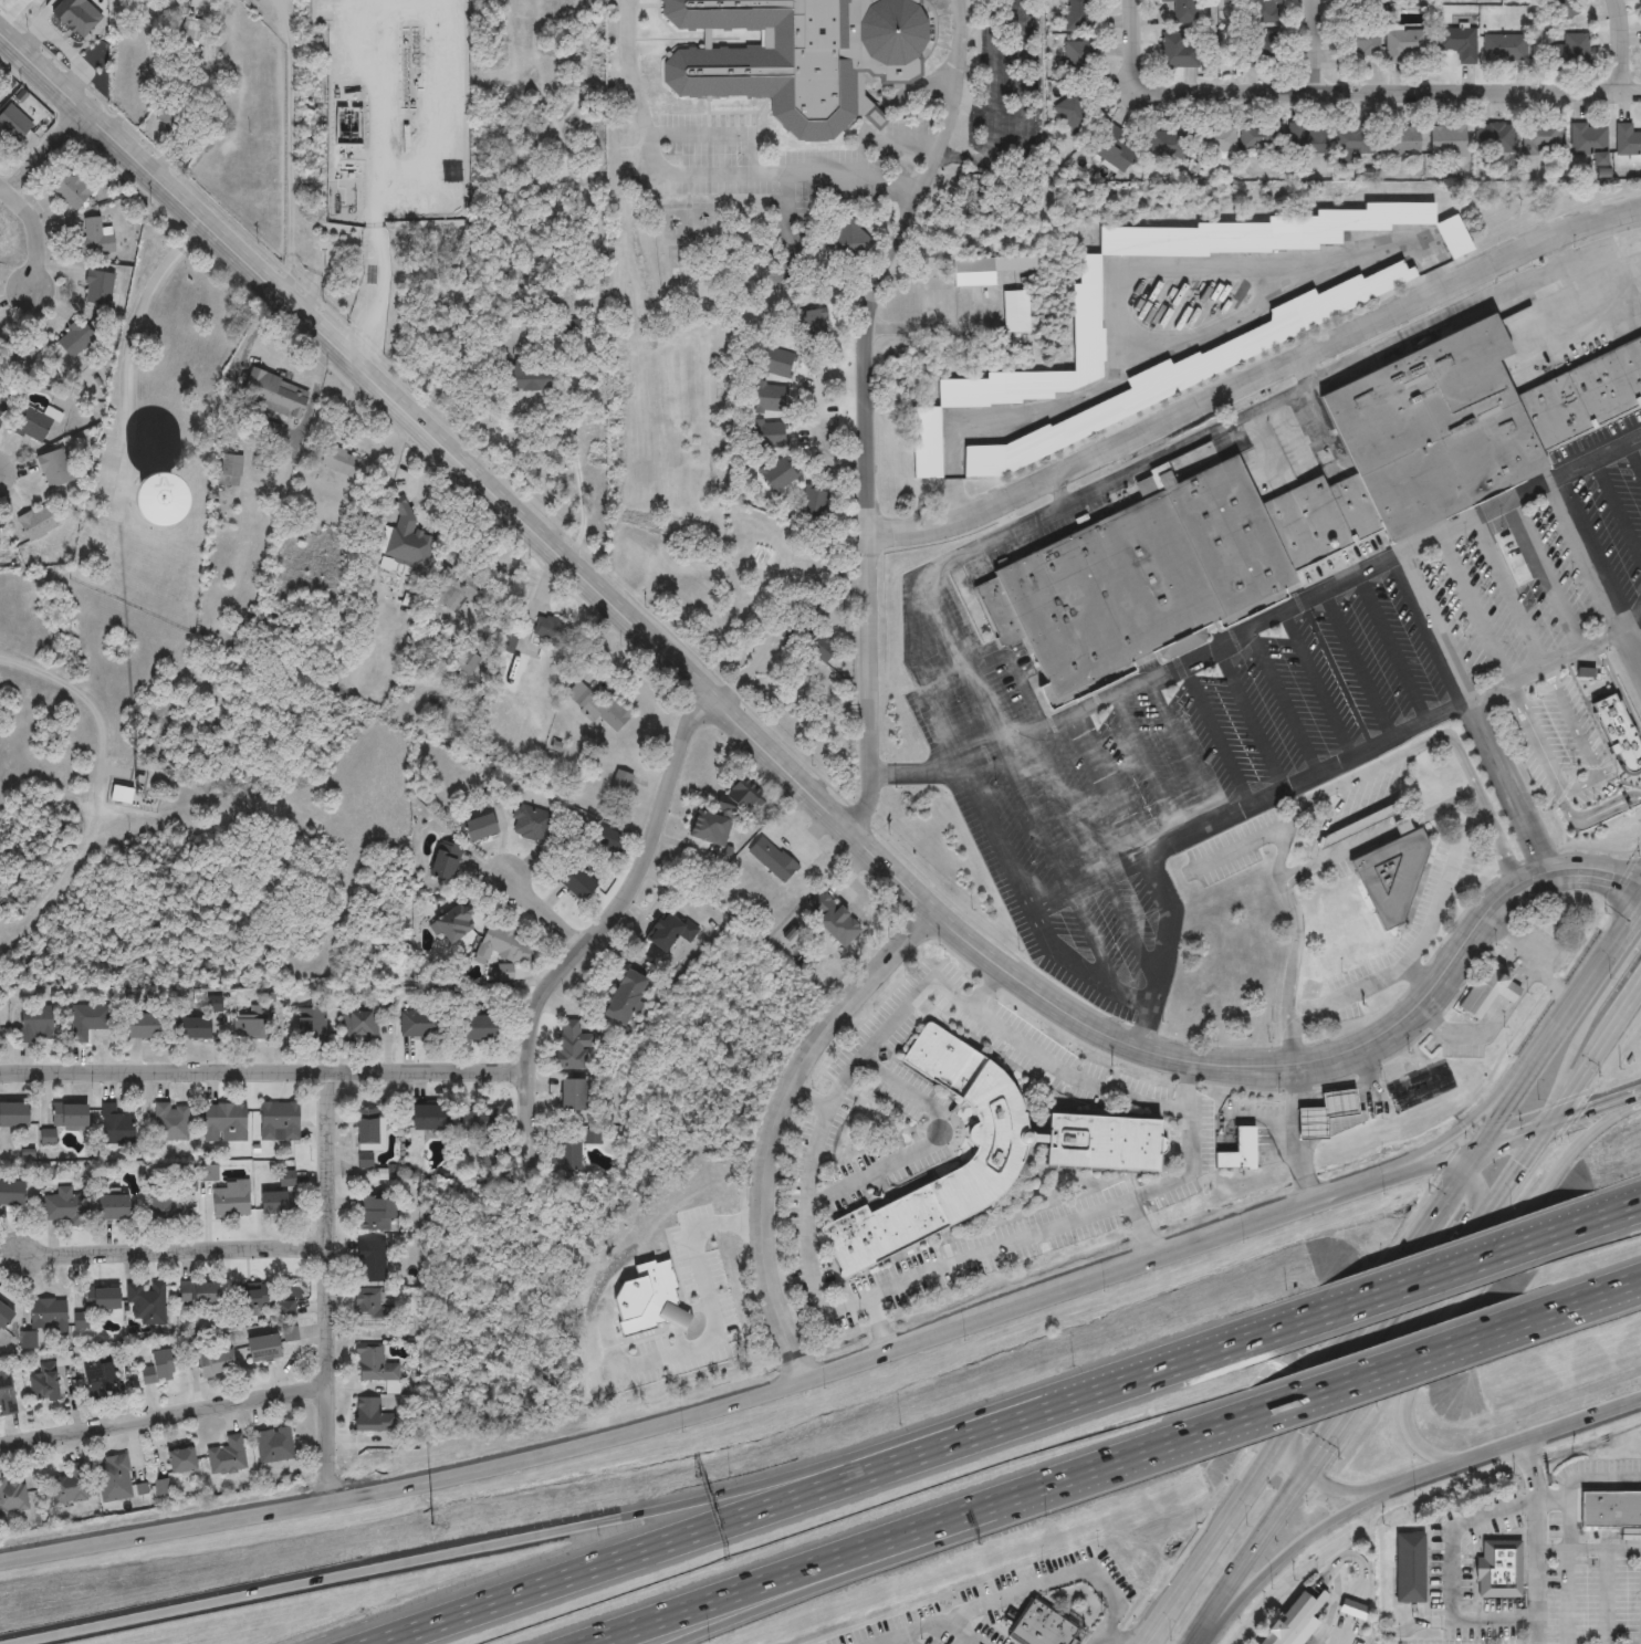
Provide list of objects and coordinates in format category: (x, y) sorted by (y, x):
building: (1358, 1)
building: (1555, 3)
building: (1182, 10)
building: (1265, 10)
building: (1076, 14)
building: (184, 34)
road: (1133, 35)
building: (1459, 42)
building: (1357, 44)
building: (1407, 44)
road: (1621, 44)
building: (1506, 46)
building: (335, 48)
road: (1314, 49)
building: (1178, 50)
building: (1264, 50)
building: (1569, 50)
building: (798, 57)
building: (1078, 60)
road: (1383, 95)
building: (1073, 113)
building: (12, 123)
road: (718, 133)
building: (1260, 136)
building: (1543, 136)
building: (1494, 137)
building: (1217, 138)
building: (1306, 138)
building: (1446, 138)
building: (1627, 138)
building: (1400, 139)
building: (1589, 139)
building: (1352, 142)
building: (1171, 144)
road: (50, 147)
building: (1111, 147)
road: (961, 158)
road: (4, 177)
road: (700, 177)
building: (71, 188)
road: (32, 228)
building: (92, 238)
building: (848, 243)
building: (1015, 265)
building: (973, 273)
road: (1121, 279)
building: (95, 287)
road: (375, 300)
road: (1578, 302)
building: (1014, 314)
road: (1422, 327)
building: (1089, 331)
building: (73, 339)
road: (129, 349)
building: (1212, 362)
building: (525, 380)
road: (1255, 383)
building: (271, 392)
building: (1583, 396)
building: (2, 401)
road: (865, 408)
road: (818, 419)
building: (34, 423)
building: (1434, 428)
road: (569, 444)
road: (1172, 450)
road: (1633, 457)
building: (338, 462)
building: (228, 468)
building: (53, 470)
building: (778, 477)
building: (134, 504)
building: (814, 505)
road: (1617, 507)
building: (1319, 519)
building: (36, 522)
building: (407, 541)
road: (1587, 553)
road: (1549, 572)
building: (1139, 580)
road: (1519, 585)
road: (1320, 588)
building: (457, 589)
road: (1484, 603)
road: (1631, 616)
road: (1433, 627)
building: (801, 628)
building: (548, 631)
building: (504, 643)
road: (1391, 647)
building: (820, 649)
road: (957, 651)
road: (1562, 657)
road: (1357, 663)
road: (1316, 682)
road: (1618, 690)
road: (73, 692)
road: (1283, 699)
parking lot: (1287, 705)
building: (600, 712)
road: (1248, 714)
road: (1215, 731)
building: (1618, 733)
road: (1578, 740)
road: (769, 754)
road: (1555, 785)
building: (132, 798)
road: (1262, 799)
building: (714, 819)
road: (1289, 821)
building: (532, 823)
building: (479, 827)
road: (1378, 836)
building: (1338, 837)
building: (609, 838)
road: (1498, 839)
road: (1240, 847)
building: (771, 858)
building: (445, 861)
building: (1389, 878)
building: (575, 882)
road: (1444, 886)
road: (854, 898)
road: (547, 915)
building: (832, 919)
building: (451, 923)
road: (1166, 929)
building: (668, 932)
road: (598, 934)
road: (1516, 943)
building: (502, 944)
road: (1098, 980)
road: (1362, 984)
road: (1556, 986)
building: (1485, 991)
building: (621, 998)
road: (1627, 1012)
building: (85, 1020)
building: (417, 1024)
building: (34, 1025)
building: (307, 1025)
road: (892, 1025)
road: (1559, 1025)
building: (358, 1026)
building: (145, 1027)
building: (249, 1028)
building: (191, 1029)
building: (477, 1029)
road: (1488, 1035)
building: (571, 1046)
road: (259, 1070)
road: (1091, 1082)
building: (571, 1096)
building: (11, 1116)
building: (66, 1116)
gas station: (1327, 1116)
road: (1558, 1117)
building: (425, 1118)
building: (1331, 1118)
traffic signals: (1557, 1118)
building: (276, 1121)
building: (474, 1121)
building: (169, 1122)
road: (1466, 1122)
building: (223, 1123)
road: (778, 1124)
building: (114, 1127)
road: (1549, 1128)
building: (366, 1130)
road: (1297, 1133)
traffic signals: (1476, 1145)
road: (928, 1148)
building: (1237, 1151)
building: (981, 1154)
building: (567, 1155)
road: (1410, 1169)
road: (1462, 1177)
building: (285, 1180)
building: (10, 1193)
road: (1328, 1197)
building: (229, 1201)
building: (161, 1202)
building: (273, 1204)
building: (63, 1206)
building: (109, 1207)
road: (1607, 1208)
building: (373, 1214)
road: (1600, 1214)
road: (1138, 1228)
road: (178, 1254)
building: (369, 1261)
road: (942, 1266)
road: (1487, 1270)
road: (1434, 1273)
road: (331, 1288)
building: (195, 1295)
road: (1599, 1296)
building: (248, 1299)
building: (644, 1299)
road: (1599, 1301)
building: (145, 1302)
building: (94, 1305)
road: (710, 1307)
building: (368, 1309)
building: (284, 1311)
building: (46, 1313)
building: (3, 1316)
road: (1533, 1320)
road: (876, 1322)
building: (288, 1334)
road: (1245, 1338)
road: (1400, 1347)
building: (260, 1349)
building: (213, 1364)
building: (155, 1366)
building: (374, 1368)
road: (1375, 1374)
building: (96, 1382)
road: (1115, 1385)
building: (41, 1388)
building: (6, 1393)
road: (1307, 1394)
road: (166, 1414)
building: (369, 1417)
road: (666, 1422)
road: (1517, 1443)
building: (272, 1444)
traffic signals: (1272, 1447)
building: (226, 1455)
building: (178, 1459)
road: (1293, 1460)
traffic signals: (1314, 1474)
road: (1582, 1475)
building: (112, 1477)
building: (70, 1485)
road: (1352, 1488)
building: (11, 1495)
building: (1610, 1509)
road: (603, 1521)
road: (709, 1527)
road: (1451, 1529)
road: (912, 1530)
road: (1535, 1541)
road: (1297, 1546)
road: (1262, 1549)
road: (906, 1554)
building: (1408, 1568)
building: (1497, 1569)
road: (1017, 1589)
building: (1353, 1610)
road: (1494, 1621)
building: (1292, 1622)
building: (1041, 1626)
road: (958, 1632)
road: (1203, 1634)
road: (1097, 1640)
road: (1104, 1640)

